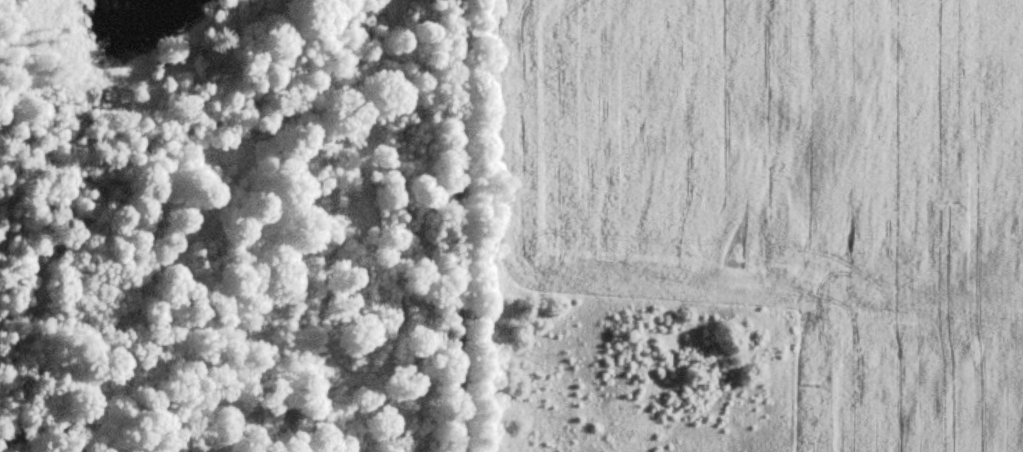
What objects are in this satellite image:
road: (460, 226)

